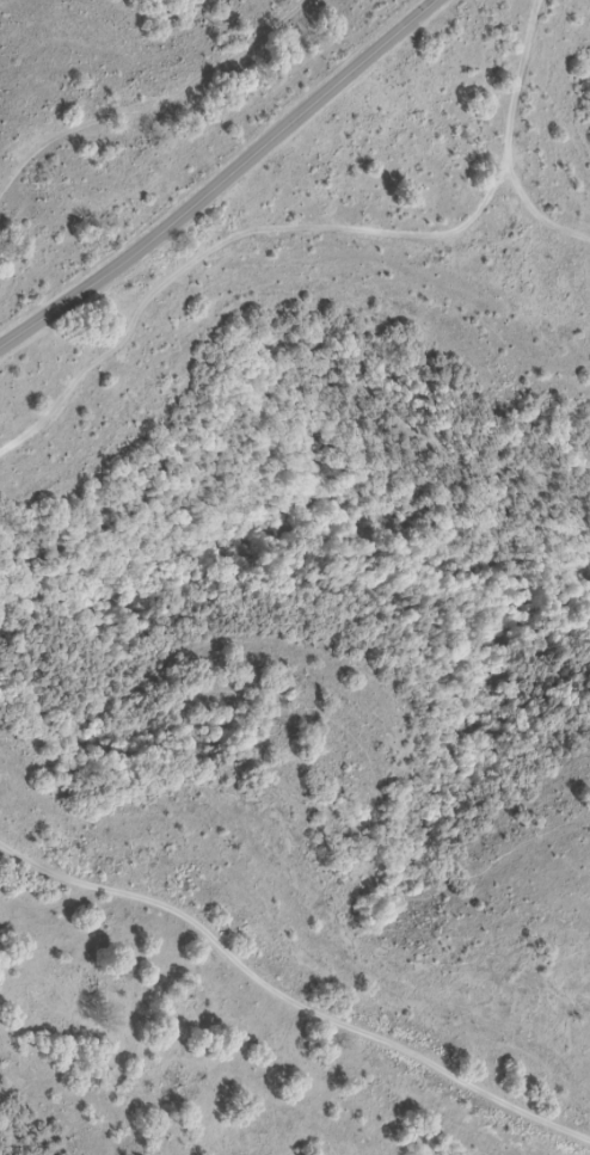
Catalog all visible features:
road: (222, 177)

